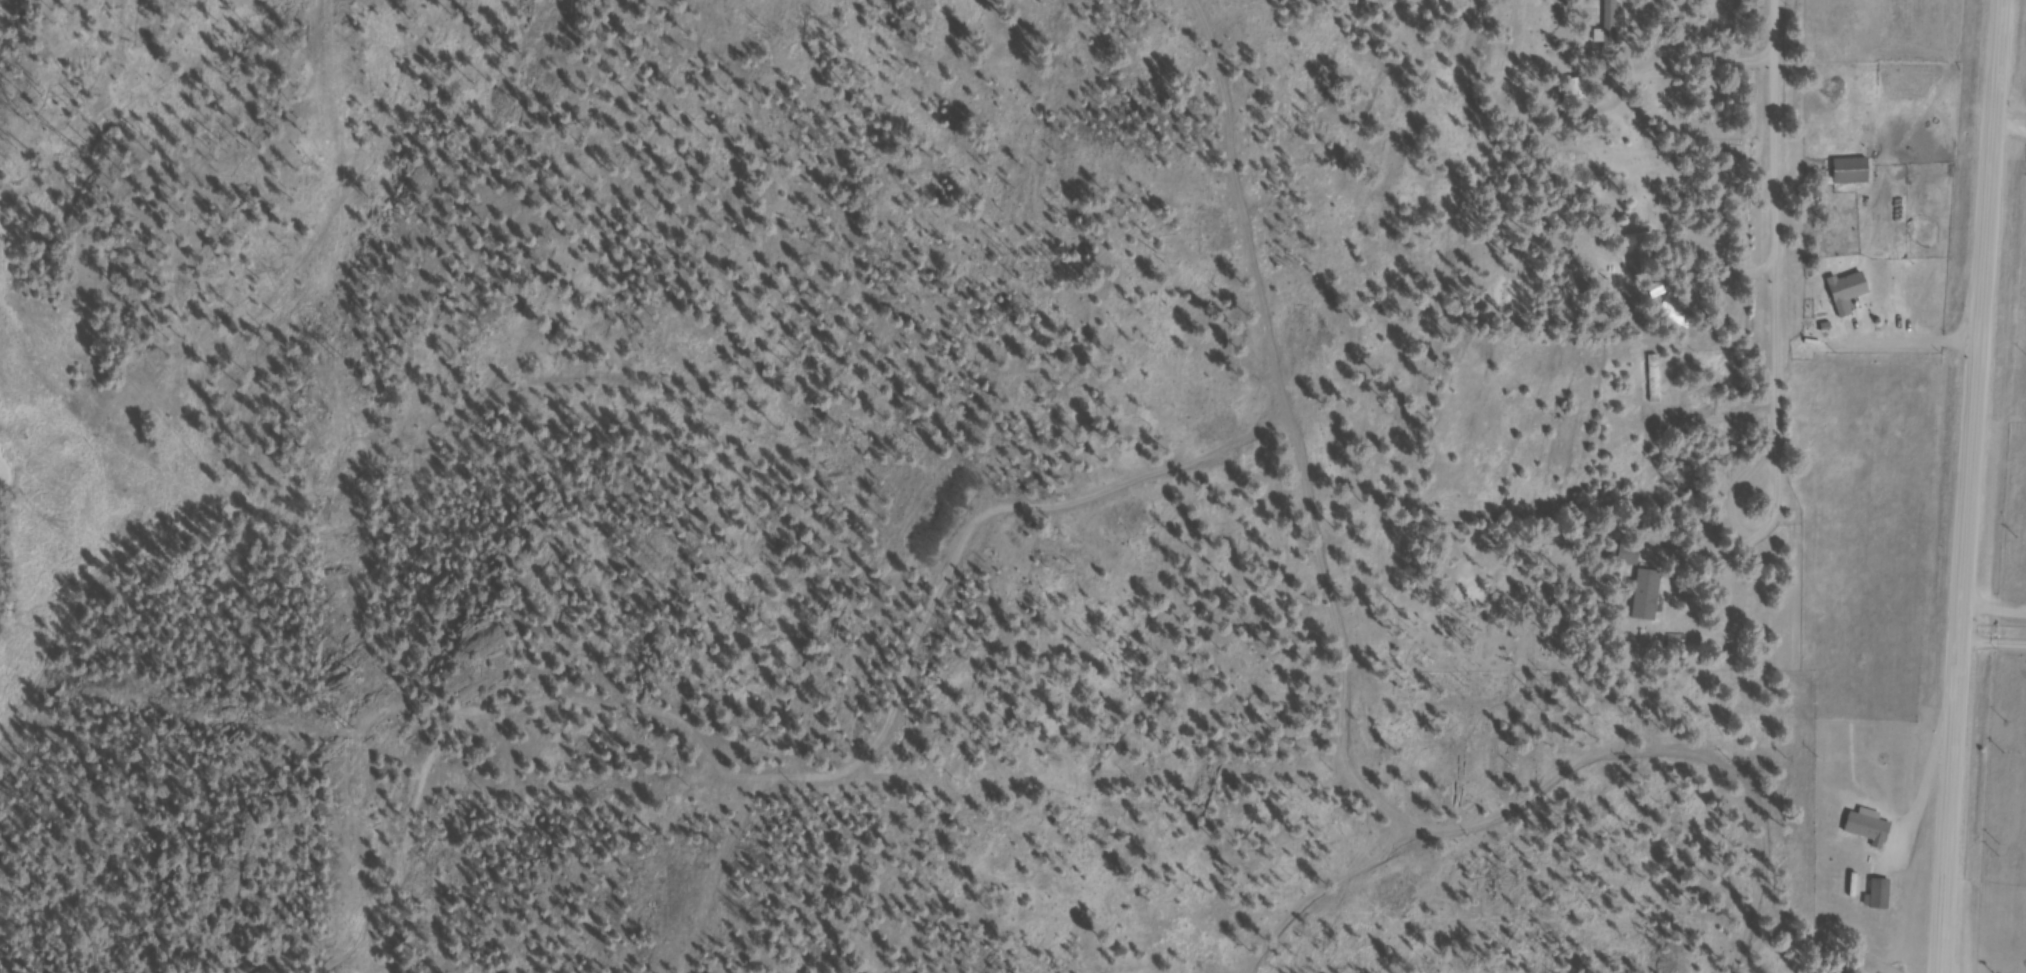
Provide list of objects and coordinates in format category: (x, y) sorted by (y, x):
building: (1576, 93)
building: (1855, 173)
road: (1789, 227)
building: (1640, 258)
building: (1852, 293)
road: (2004, 301)
building: (1658, 381)
road: (1972, 486)
building: (1631, 557)
building: (1650, 596)
road: (1995, 610)
building: (1872, 829)
building: (1884, 896)

